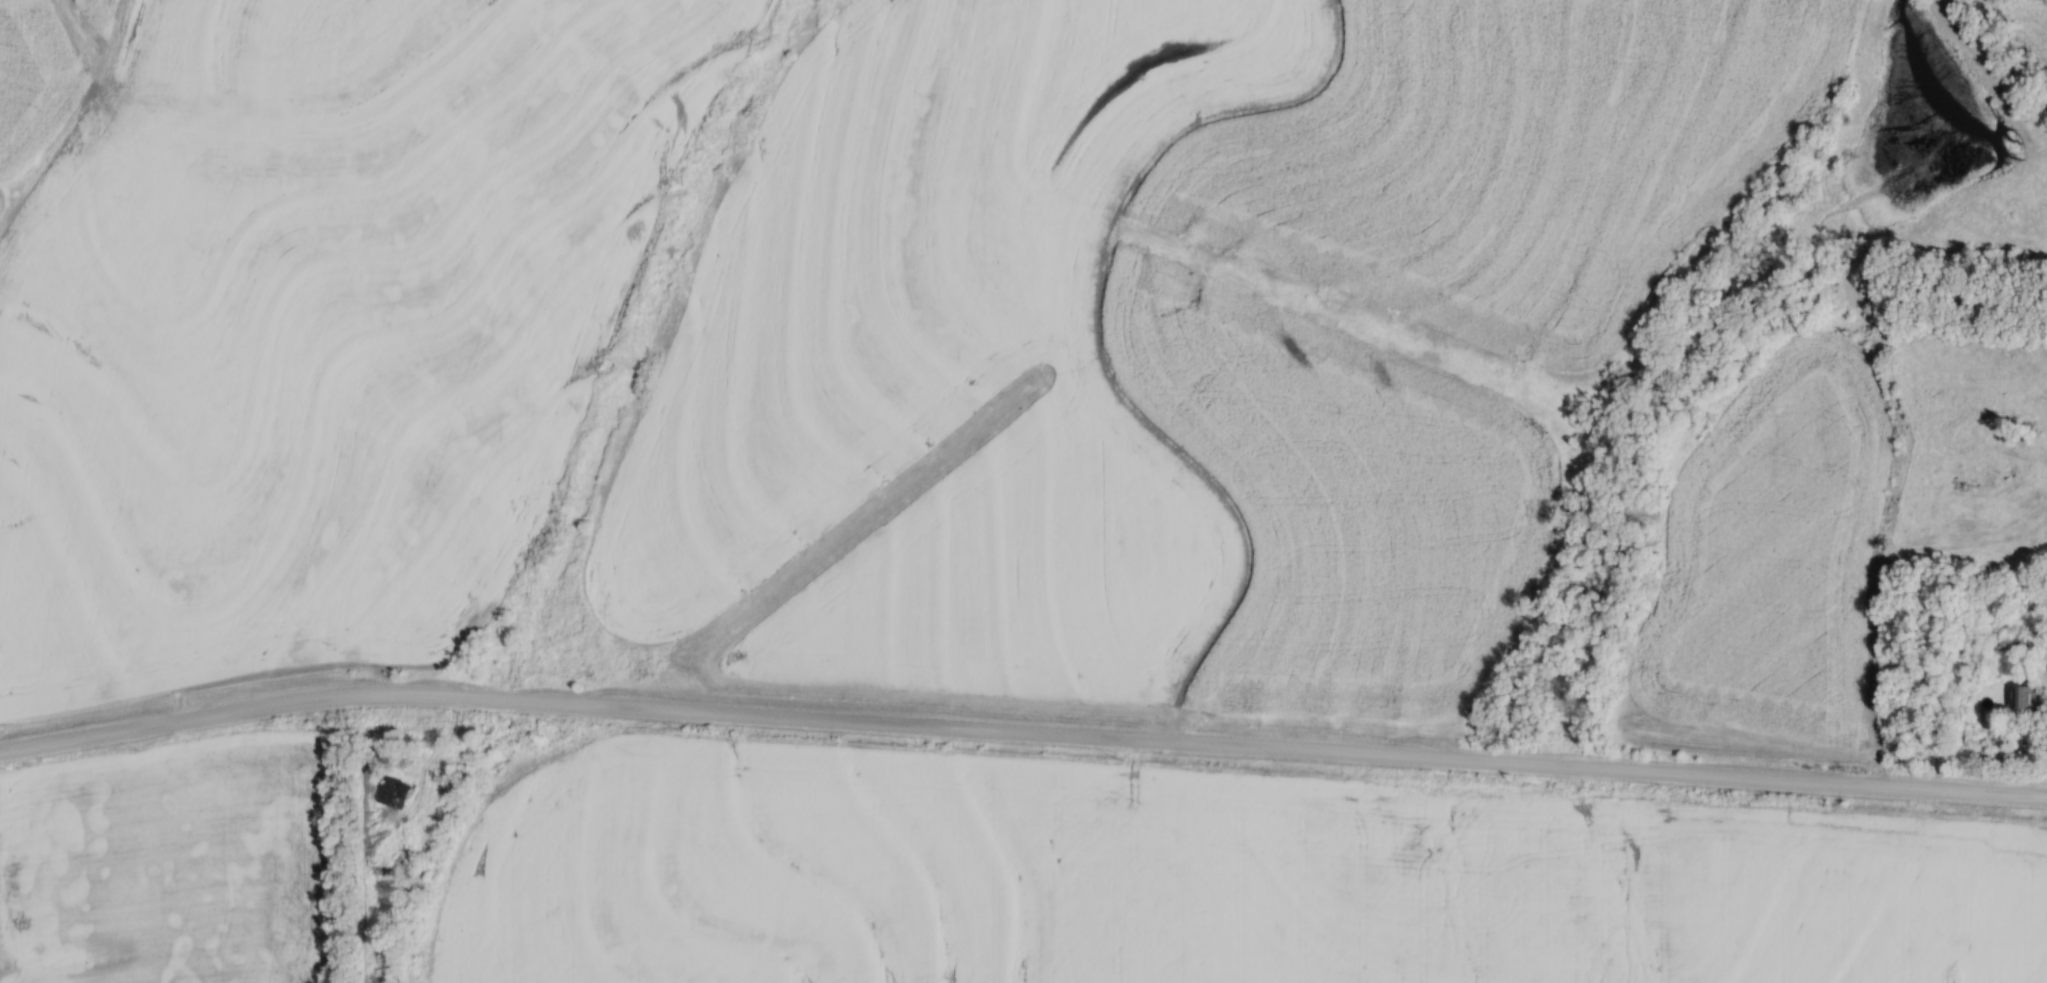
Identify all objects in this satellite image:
building: (1994, 647)
building: (2022, 697)
road: (1021, 731)

